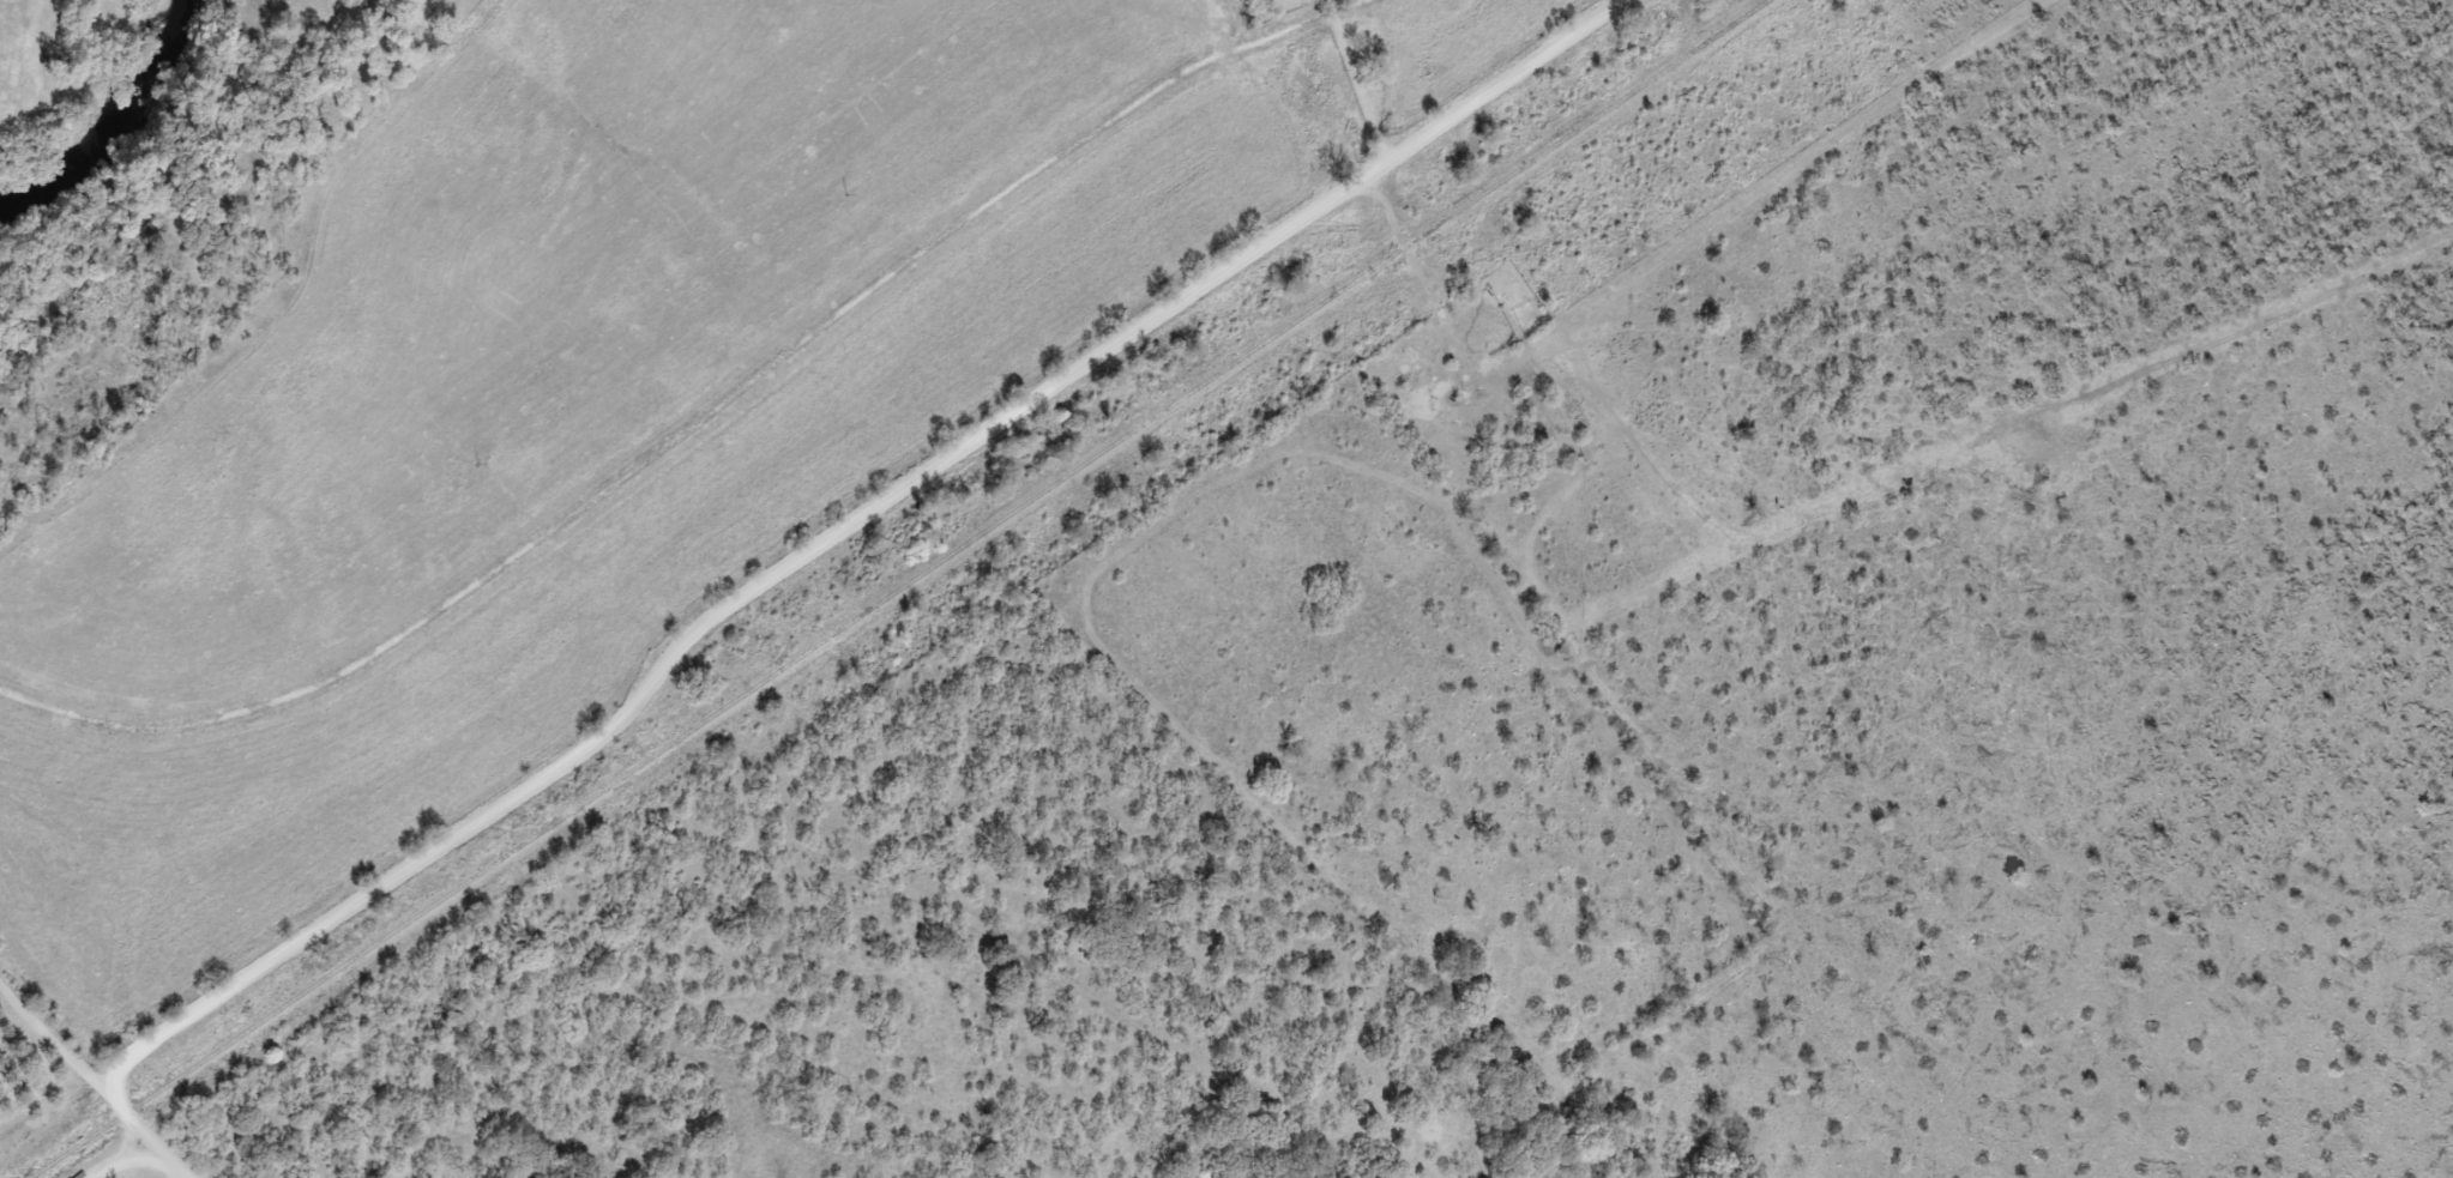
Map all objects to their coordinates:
river: (102, 117)
road: (1404, 258)
road: (828, 539)
railway: (898, 588)
road: (47, 1035)
road: (151, 1147)

